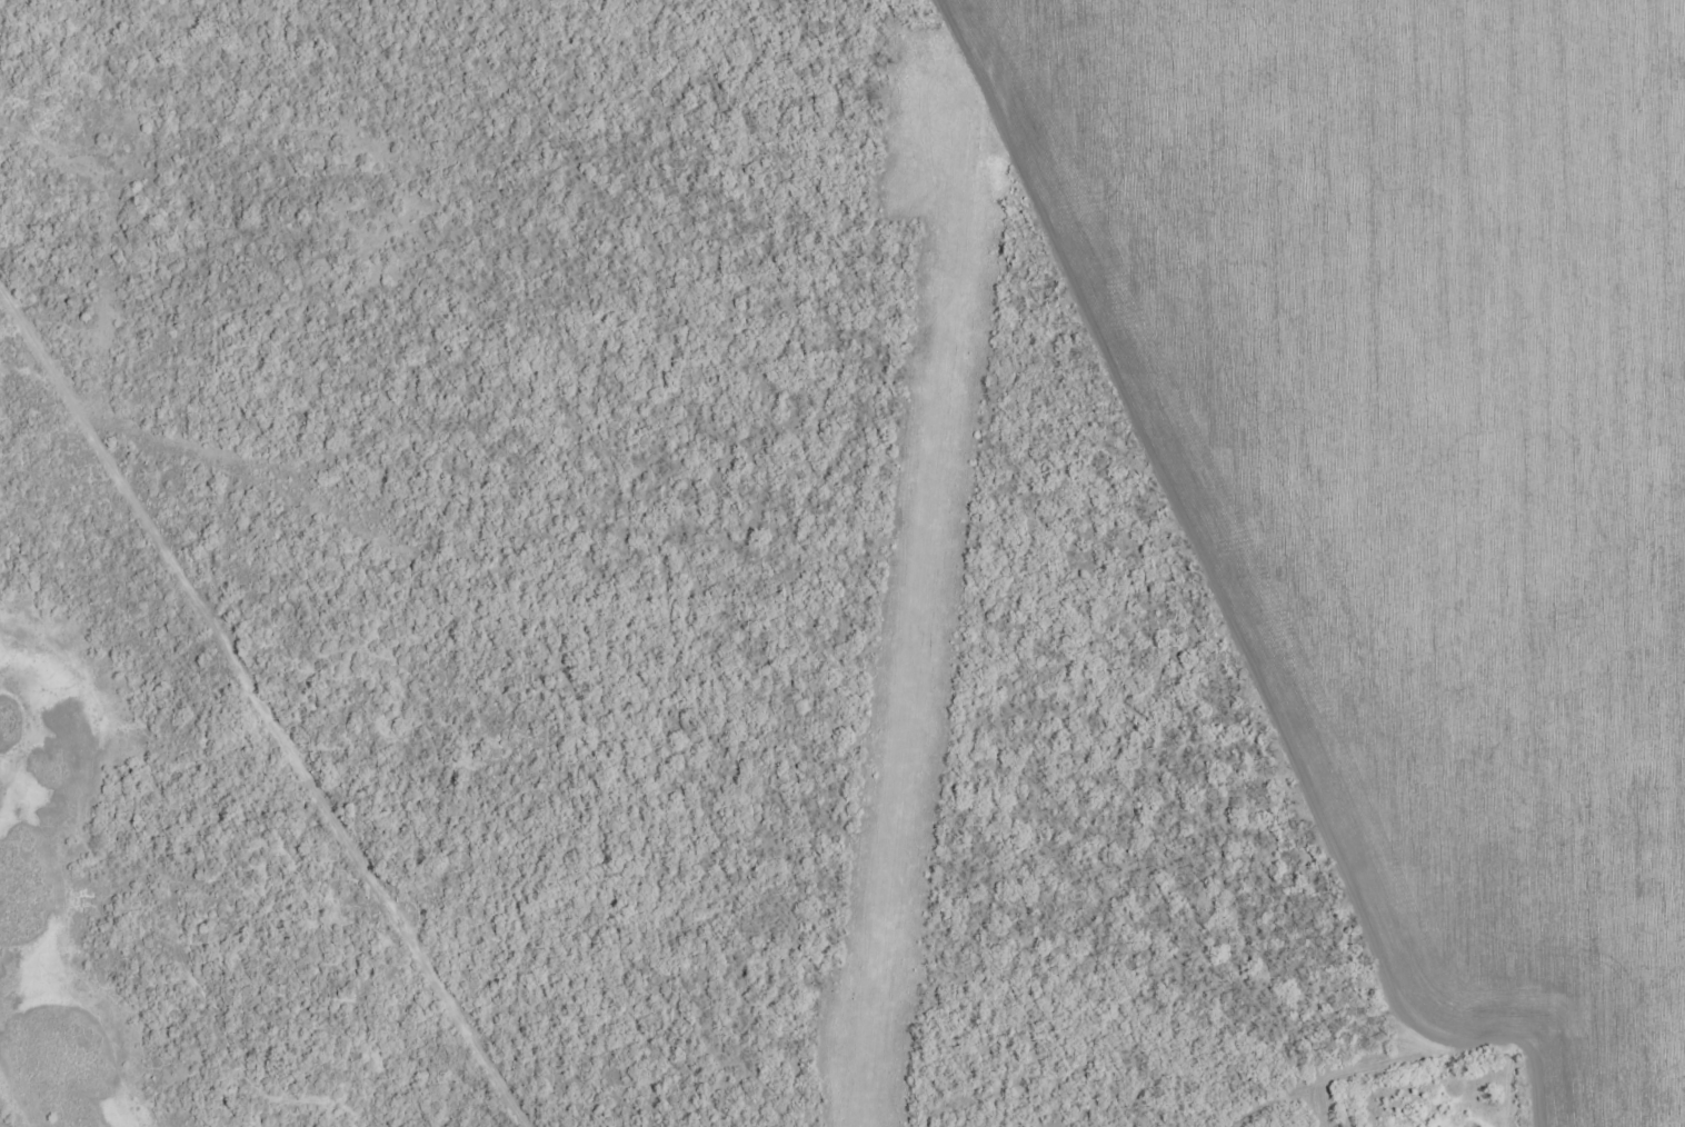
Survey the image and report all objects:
road: (1562, 1011)

